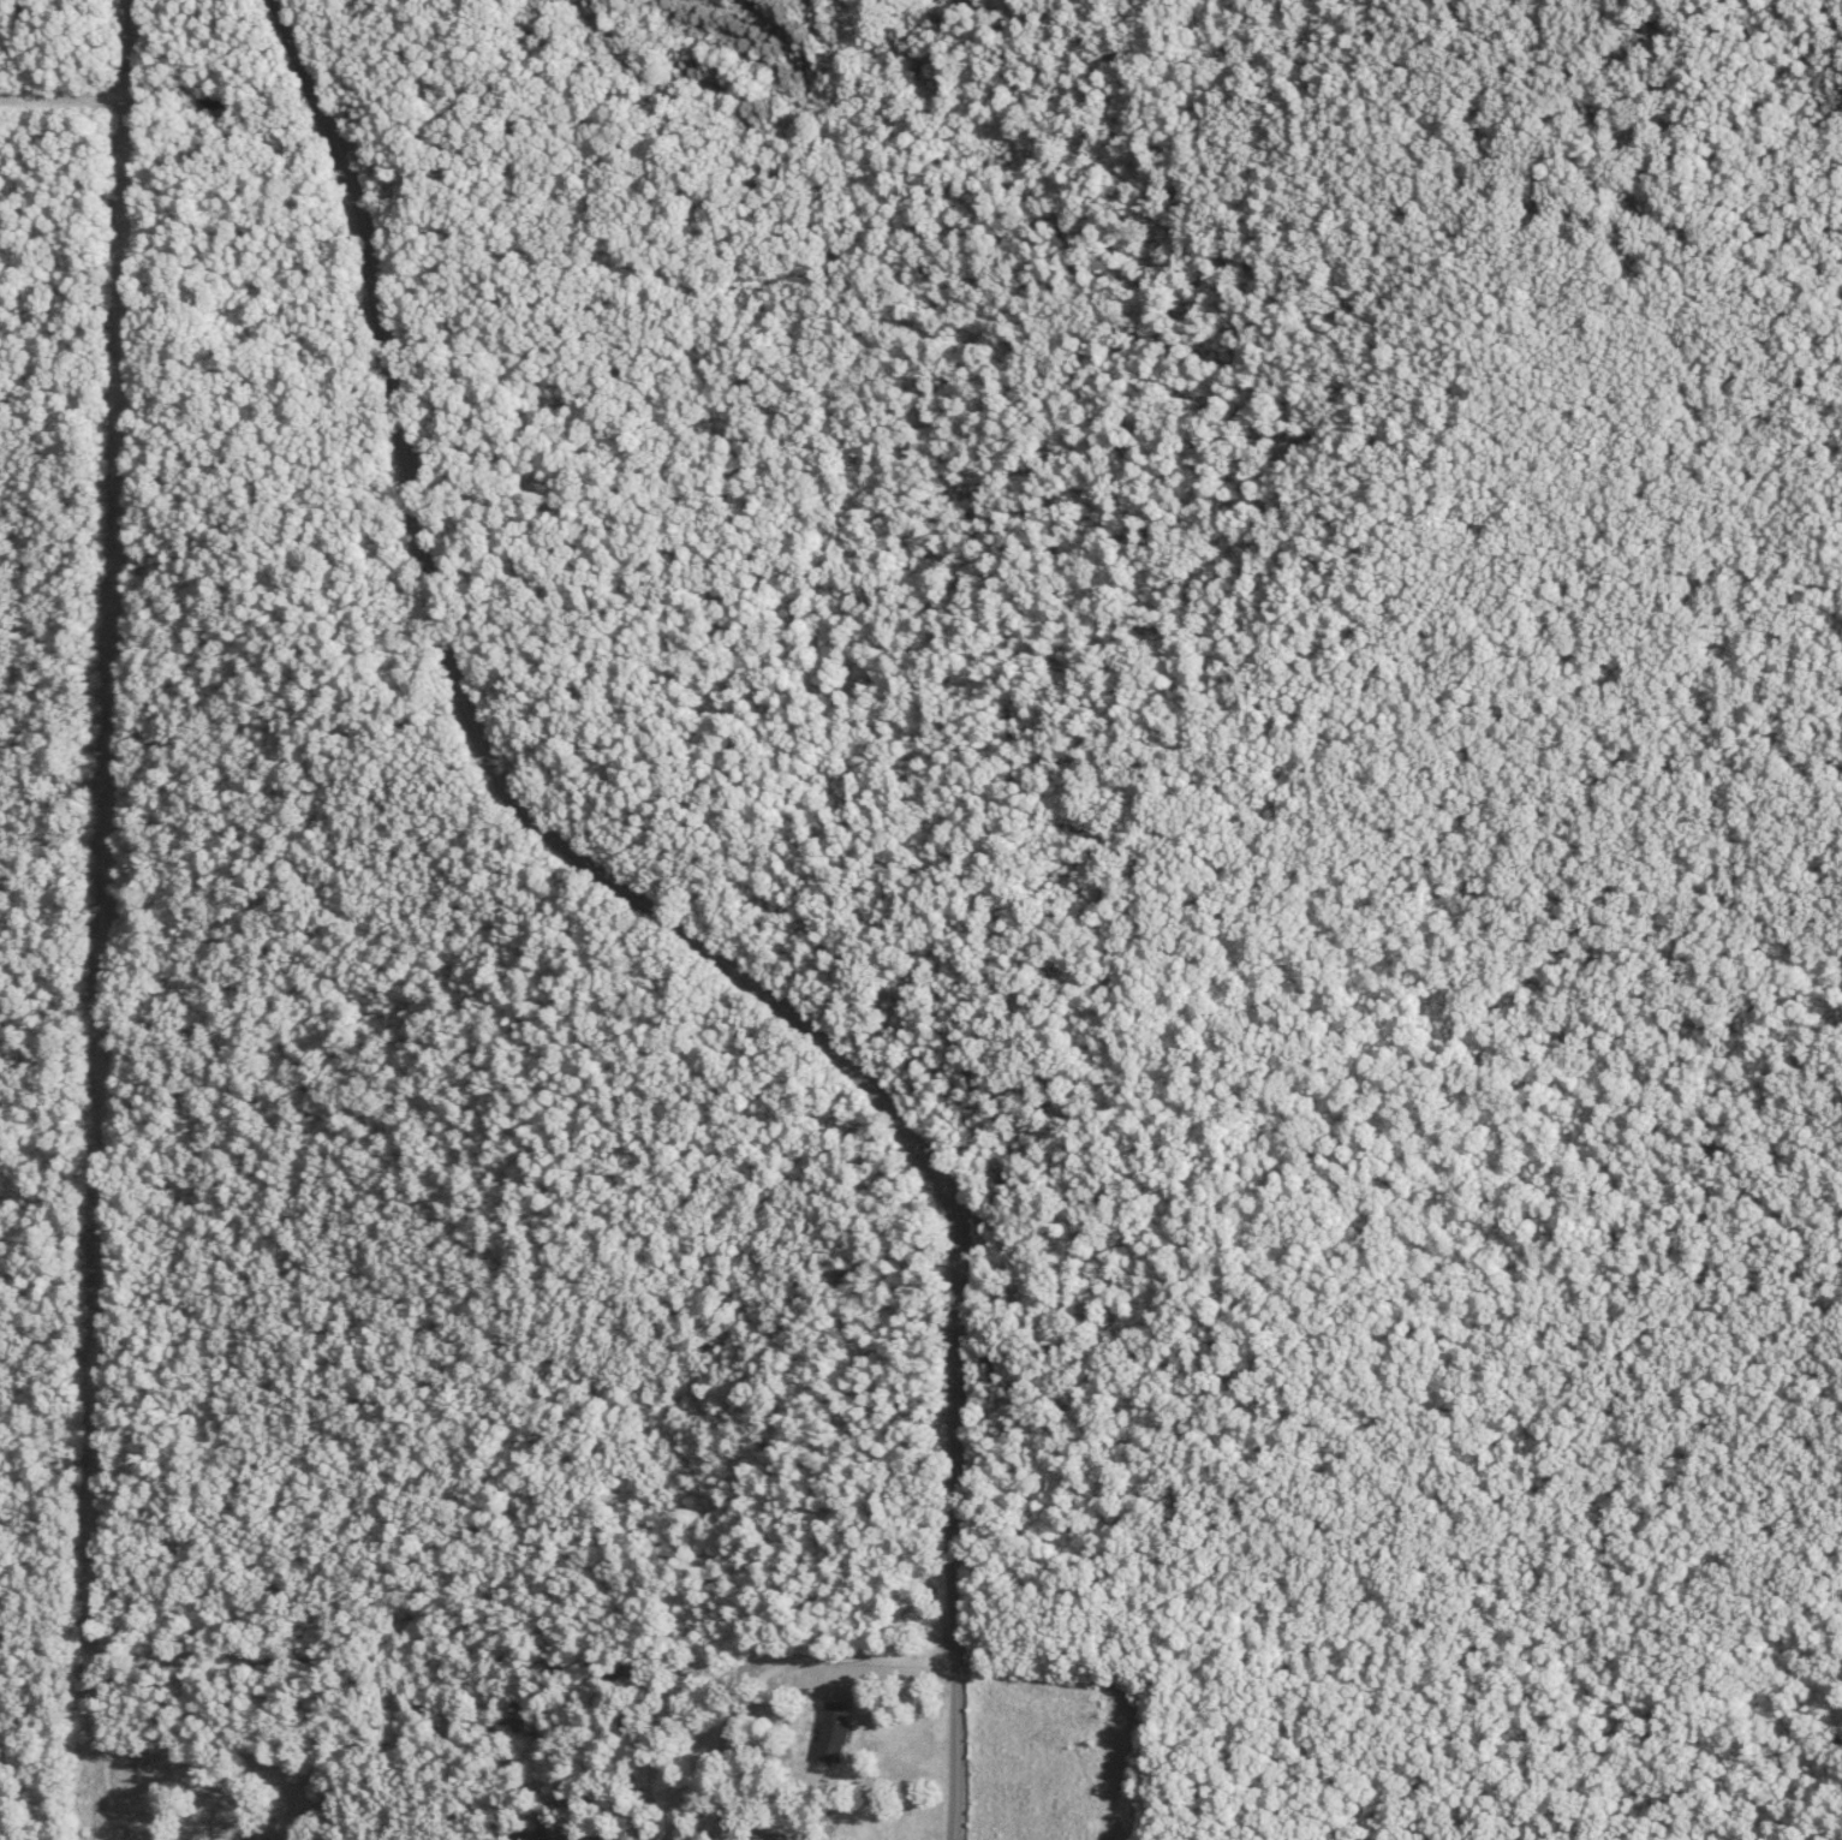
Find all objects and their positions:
road: (666, 925)
road: (1123, 1686)
building: (836, 1732)

